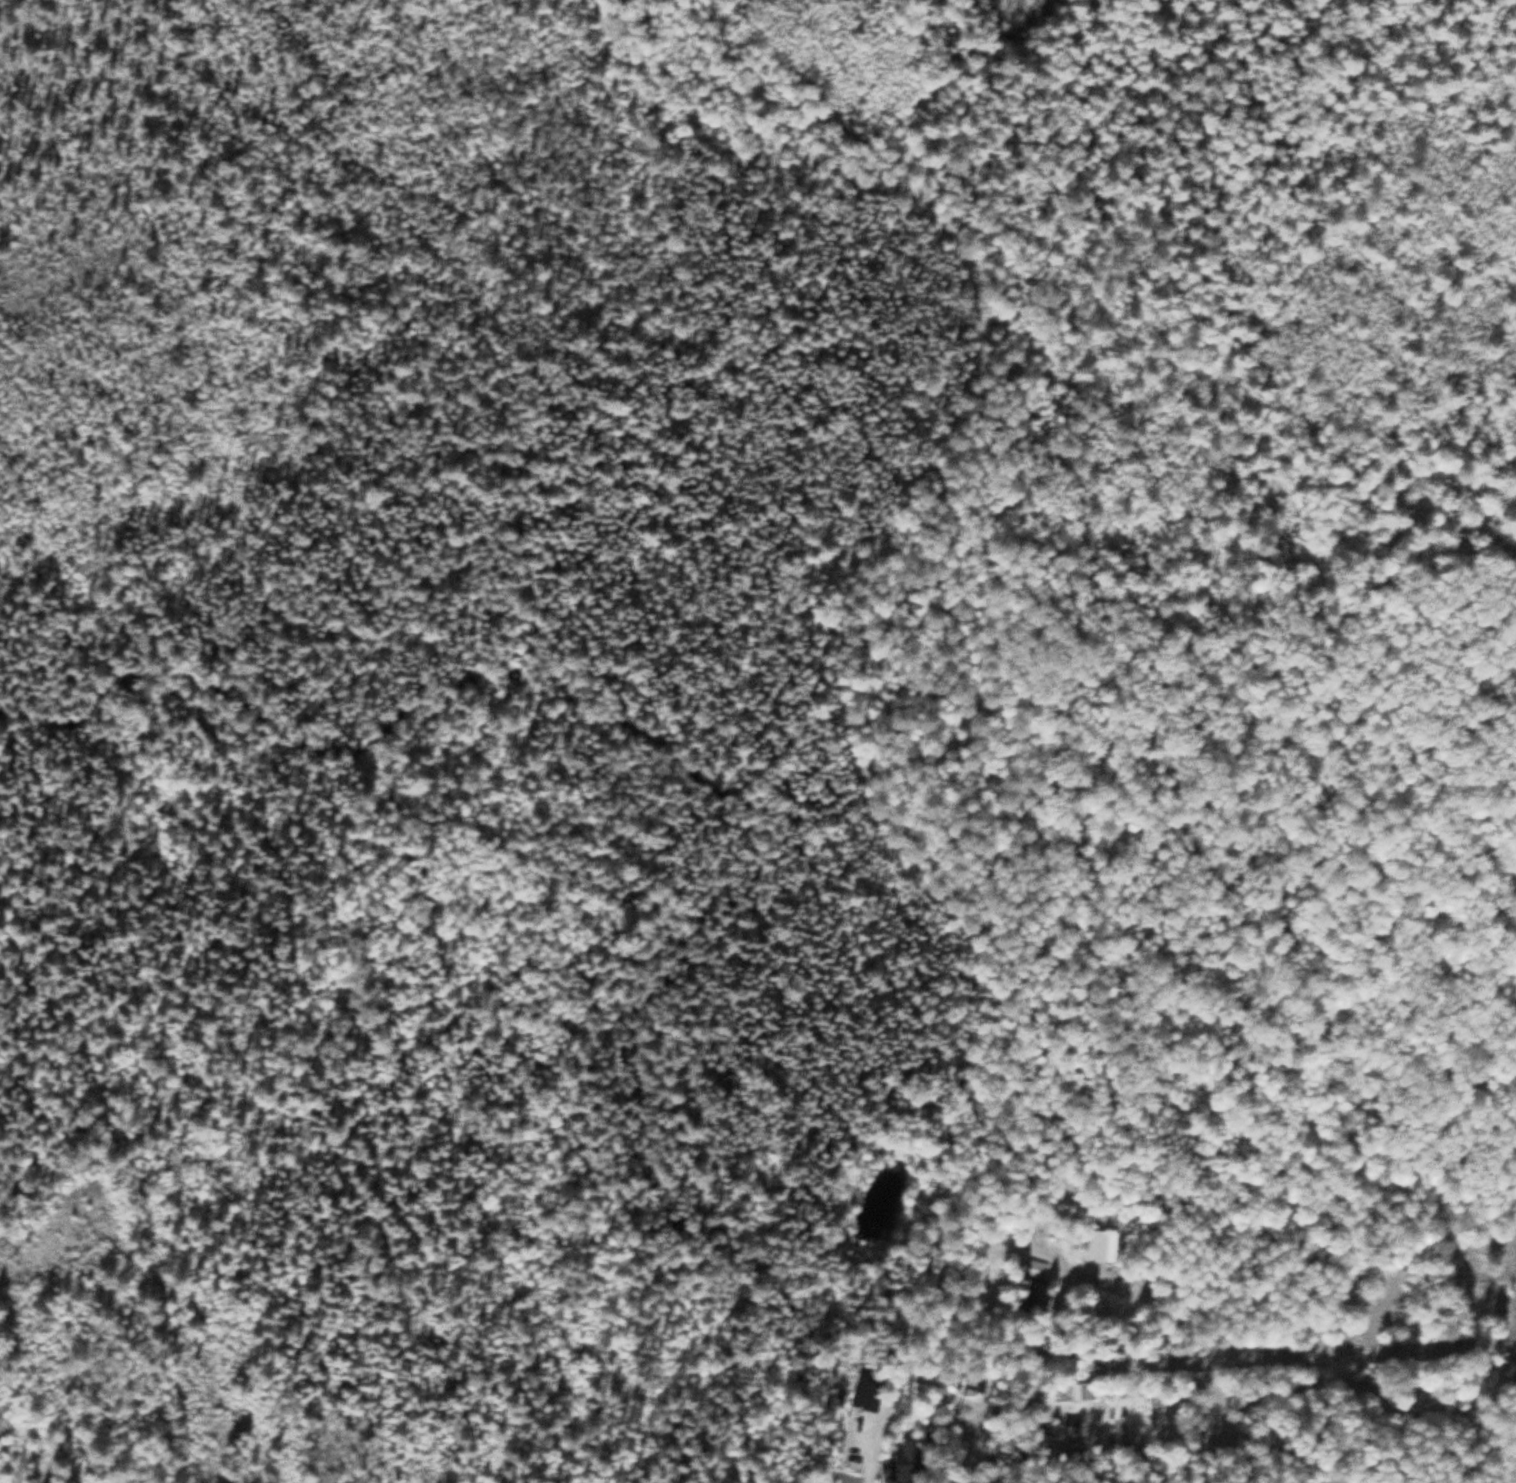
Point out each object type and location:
building: (1097, 1246)
building: (1035, 1288)
road: (904, 1311)
building: (868, 1396)
building: (908, 1462)

